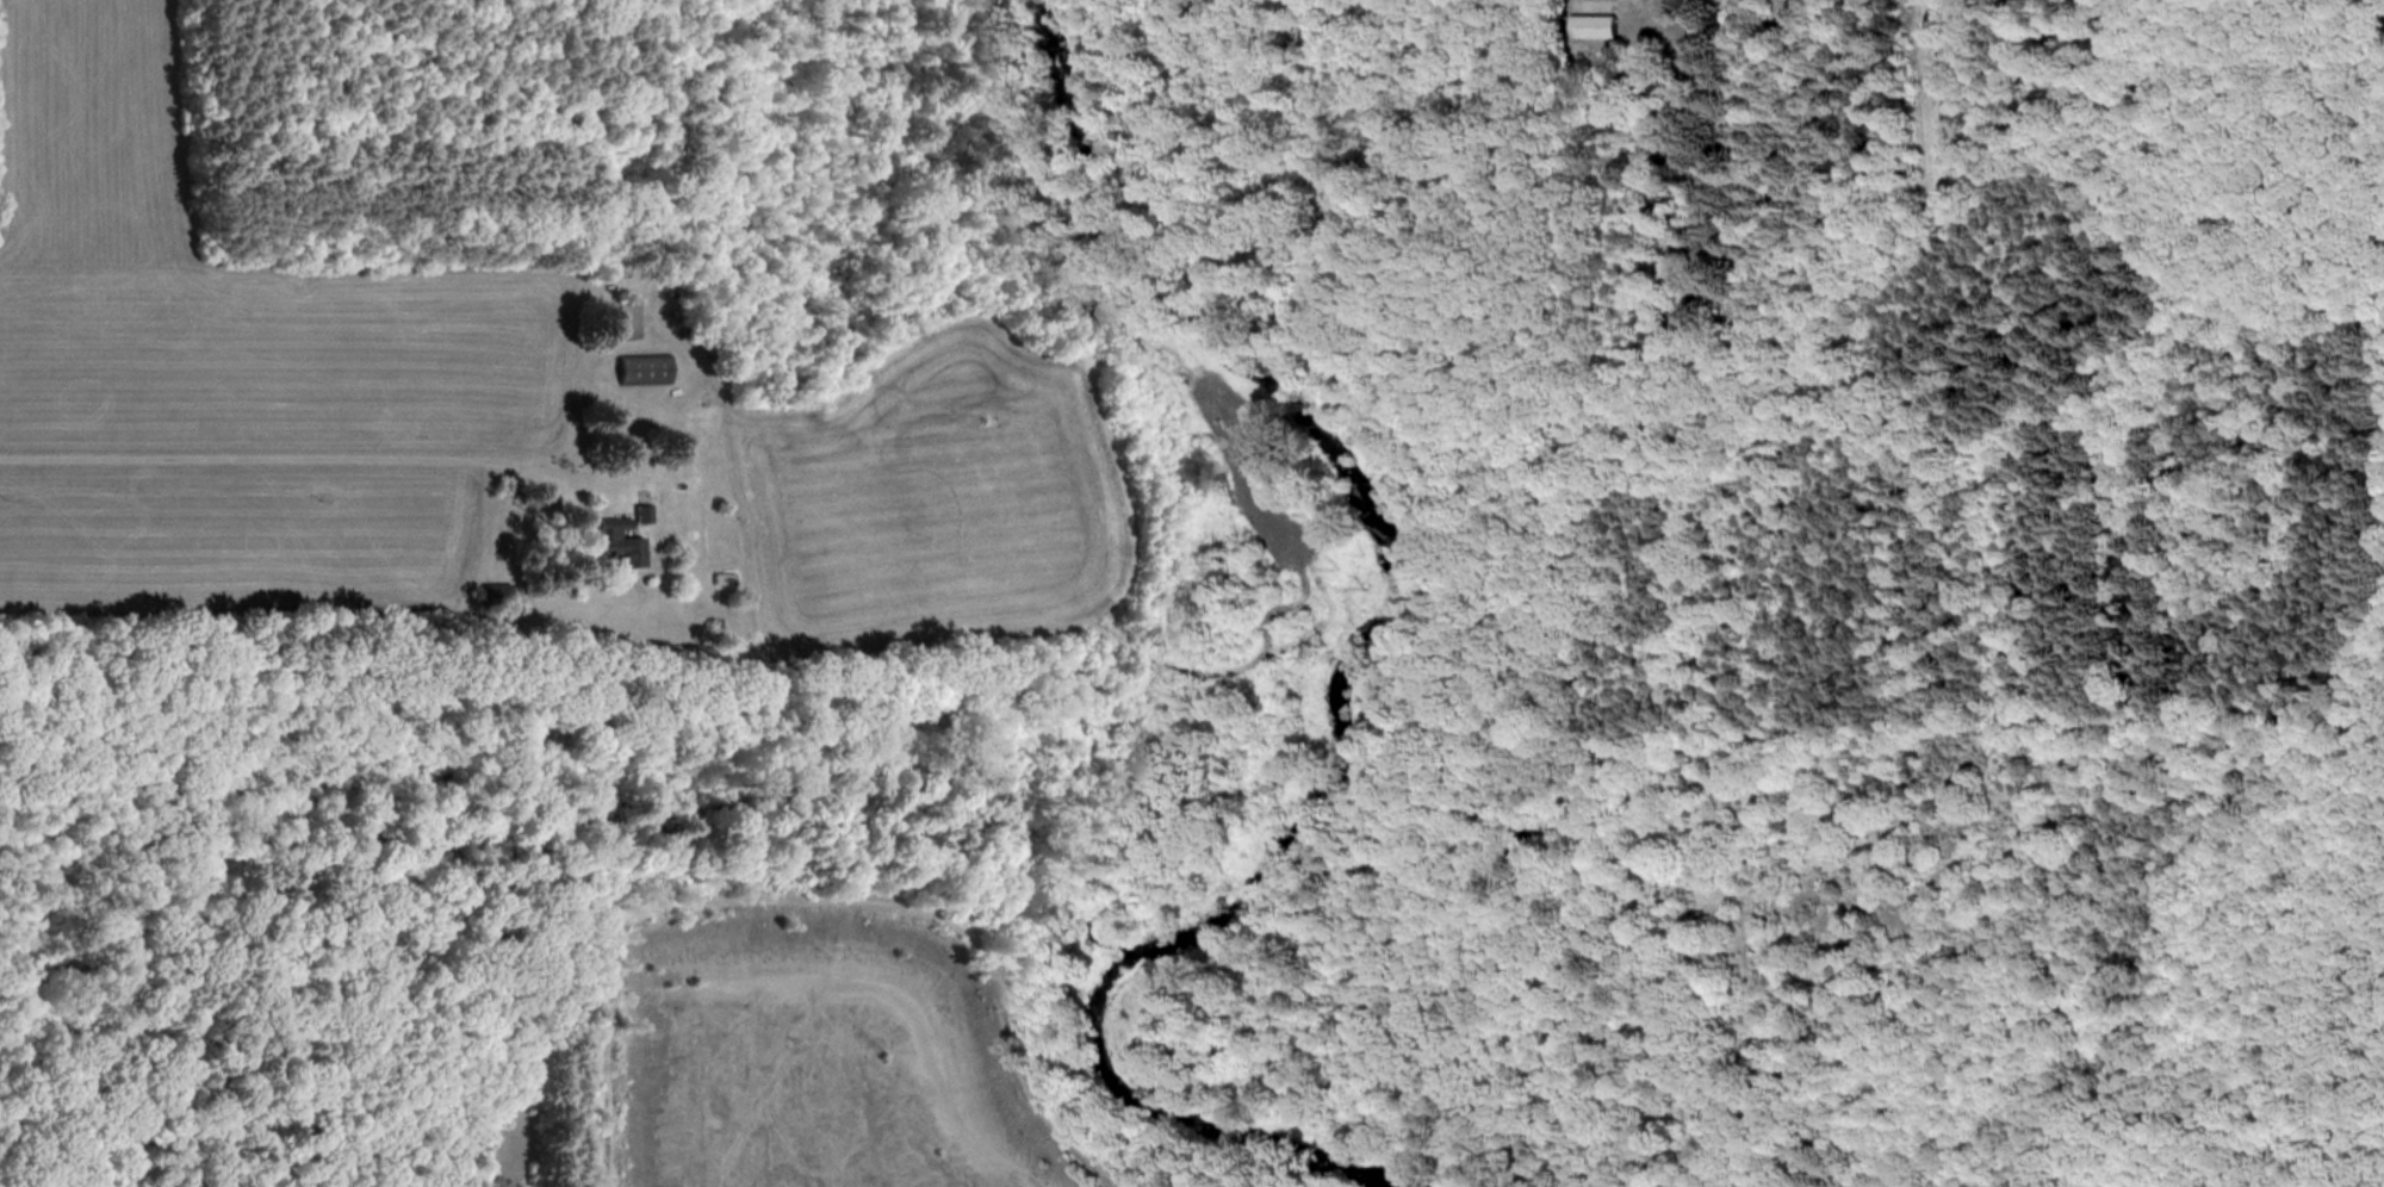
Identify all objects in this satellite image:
building: (1591, 26)
building: (613, 317)
building: (632, 368)
road: (107, 462)
road: (416, 468)
building: (634, 516)
building: (611, 542)
building: (719, 580)

